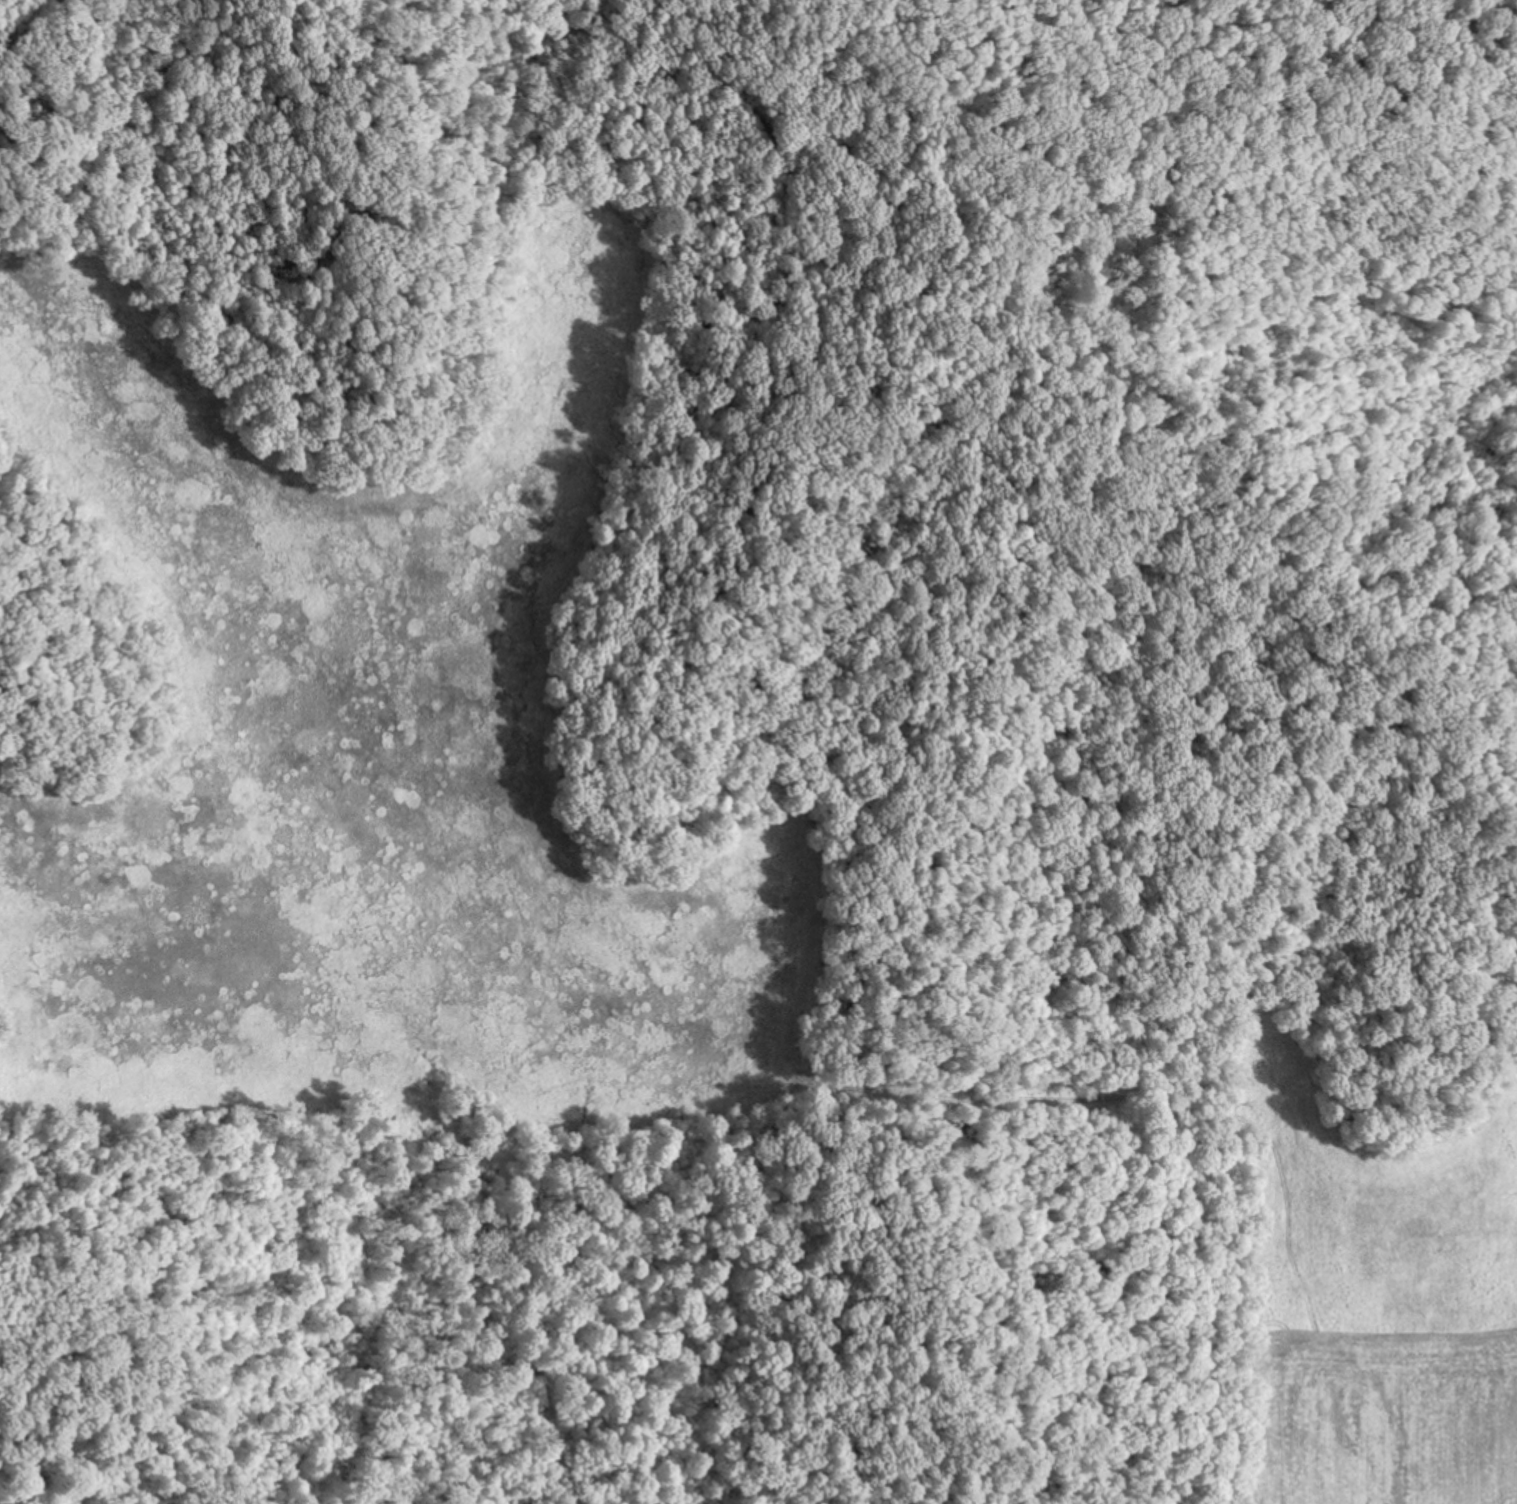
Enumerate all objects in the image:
crop: (1381, 1419)

